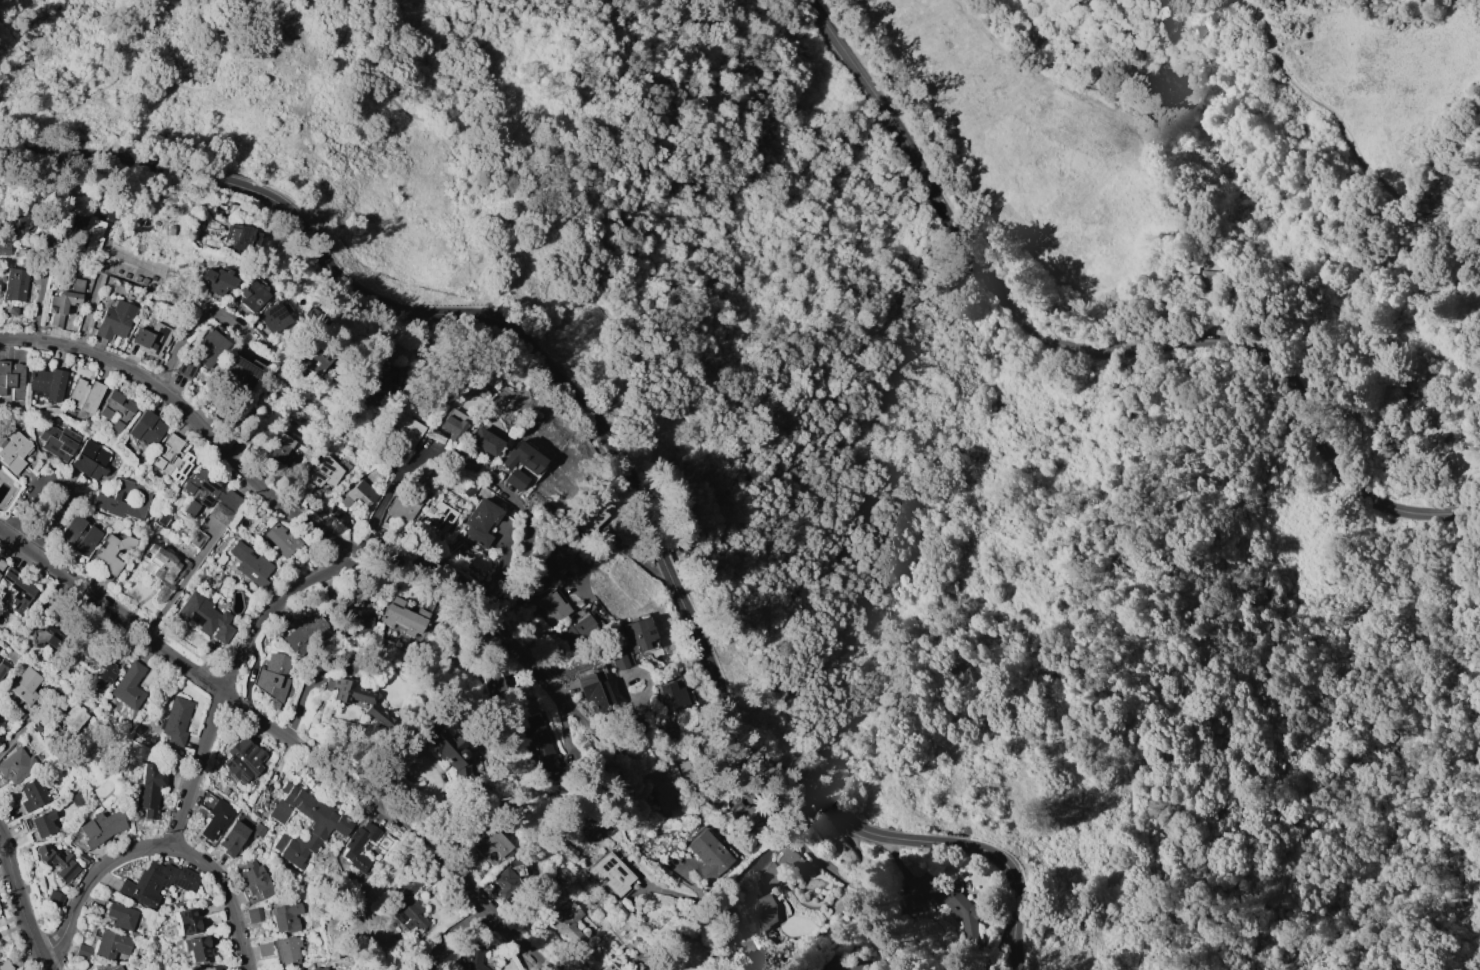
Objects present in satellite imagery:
road: (34, 59)
road: (141, 79)
road: (1123, 109)
road: (1358, 156)
building: (64, 219)
building: (90, 234)
building: (226, 236)
building: (4, 248)
building: (1209, 278)
building: (217, 279)
building: (15, 284)
building: (250, 295)
building: (63, 301)
road: (91, 306)
building: (12, 310)
building: (274, 316)
road: (1193, 316)
building: (114, 320)
road: (1346, 321)
road: (197, 331)
building: (151, 339)
road: (1091, 352)
building: (201, 353)
building: (314, 357)
building: (238, 370)
building: (12, 379)
building: (374, 380)
building: (47, 382)
building: (85, 394)
road: (1373, 395)
building: (116, 409)
building: (452, 424)
building: (147, 428)
building: (406, 429)
building: (57, 441)
building: (482, 441)
building: (278, 449)
road: (618, 450)
building: (13, 451)
building: (522, 457)
building: (171, 458)
building: (89, 460)
building: (522, 472)
building: (320, 475)
building: (513, 479)
road: (62, 480)
building: (466, 491)
building: (206, 493)
building: (358, 494)
road: (387, 494)
building: (124, 500)
building: (401, 508)
building: (220, 513)
building: (320, 516)
building: (339, 517)
building: (587, 517)
building: (164, 519)
building: (434, 519)
building: (478, 522)
road: (306, 524)
building: (78, 535)
building: (196, 539)
building: (281, 539)
road: (603, 540)
road: (762, 550)
building: (111, 552)
road: (522, 554)
building: (1, 564)
building: (250, 565)
building: (545, 569)
building: (163, 571)
building: (17, 590)
building: (552, 607)
building: (204, 617)
building: (401, 617)
building: (358, 621)
building: (579, 630)
building: (306, 634)
building: (638, 634)
building: (46, 637)
building: (111, 666)
building: (3, 667)
road: (230, 673)
building: (273, 676)
building: (490, 683)
building: (128, 685)
building: (22, 686)
road: (303, 688)
building: (595, 692)
building: (670, 696)
building: (358, 700)
building: (68, 720)
building: (177, 721)
building: (36, 727)
road: (21, 729)
road: (289, 734)
building: (0, 741)
building: (0, 742)
road: (647, 743)
building: (539, 747)
building: (444, 753)
building: (241, 759)
building: (16, 765)
building: (667, 787)
building: (148, 790)
building: (34, 794)
building: (214, 814)
road: (633, 819)
building: (39, 823)
building: (329, 826)
building: (97, 829)
building: (257, 829)
building: (231, 838)
building: (489, 844)
building: (358, 845)
road: (158, 848)
building: (707, 856)
building: (81, 857)
building: (56, 861)
building: (781, 866)
building: (611, 873)
building: (253, 881)
building: (504, 882)
building: (161, 884)
road: (18, 895)
building: (54, 899)
building: (408, 904)
road: (701, 906)
building: (965, 908)
building: (760, 909)
building: (255, 914)
building: (121, 916)
building: (285, 916)
building: (188, 921)
building: (566, 923)
road: (734, 929)
road: (450, 931)
building: (485, 932)
building: (111, 944)
building: (196, 949)
building: (264, 949)
building: (287, 950)
building: (82, 951)
building: (474, 954)
building: (4, 965)
road: (47, 965)
building: (847, 965)
building: (105, 967)
building: (610, 967)
building: (213, 968)
building: (318, 968)
building: (124, 969)

